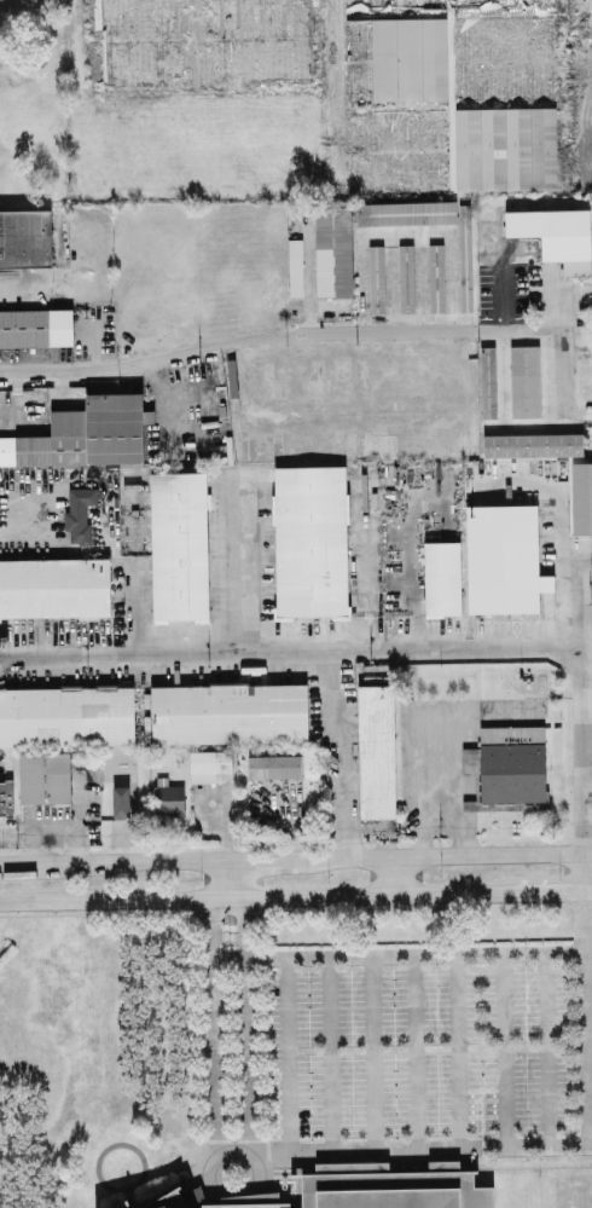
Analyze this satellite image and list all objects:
building: (197, 44)
building: (449, 94)
building: (406, 212)
building: (25, 237)
building: (565, 237)
building: (332, 250)
building: (464, 256)
building: (295, 266)
building: (435, 276)
building: (405, 277)
building: (376, 278)
road: (549, 301)
building: (35, 325)
road: (277, 341)
building: (487, 380)
building: (524, 380)
road: (529, 420)
building: (83, 433)
building: (532, 444)
building: (581, 496)
building: (79, 510)
road: (25, 524)
building: (310, 539)
building: (178, 544)
building: (503, 557)
road: (236, 563)
building: (441, 577)
road: (413, 578)
building: (54, 586)
road: (366, 590)
road: (288, 648)
road: (578, 698)
building: (228, 712)
road: (439, 717)
building: (59, 730)
building: (376, 750)
road: (339, 751)
building: (511, 762)
building: (208, 763)
building: (273, 764)
building: (6, 796)
building: (168, 799)
building: (120, 800)
road: (442, 854)
road: (259, 857)
road: (146, 860)
road: (34, 862)
road: (581, 872)
road: (393, 873)
road: (224, 877)
road: (587, 890)
road: (538, 891)
road: (245, 895)
road: (400, 954)
road: (584, 1017)
road: (245, 1018)
road: (209, 1021)
road: (539, 1047)
road: (503, 1048)
road: (411, 1050)
road: (453, 1050)
road: (367, 1051)
road: (286, 1052)
road: (327, 1052)
road: (401, 1146)
building: (388, 1187)
road: (228, 1197)
building: (209, 1198)

